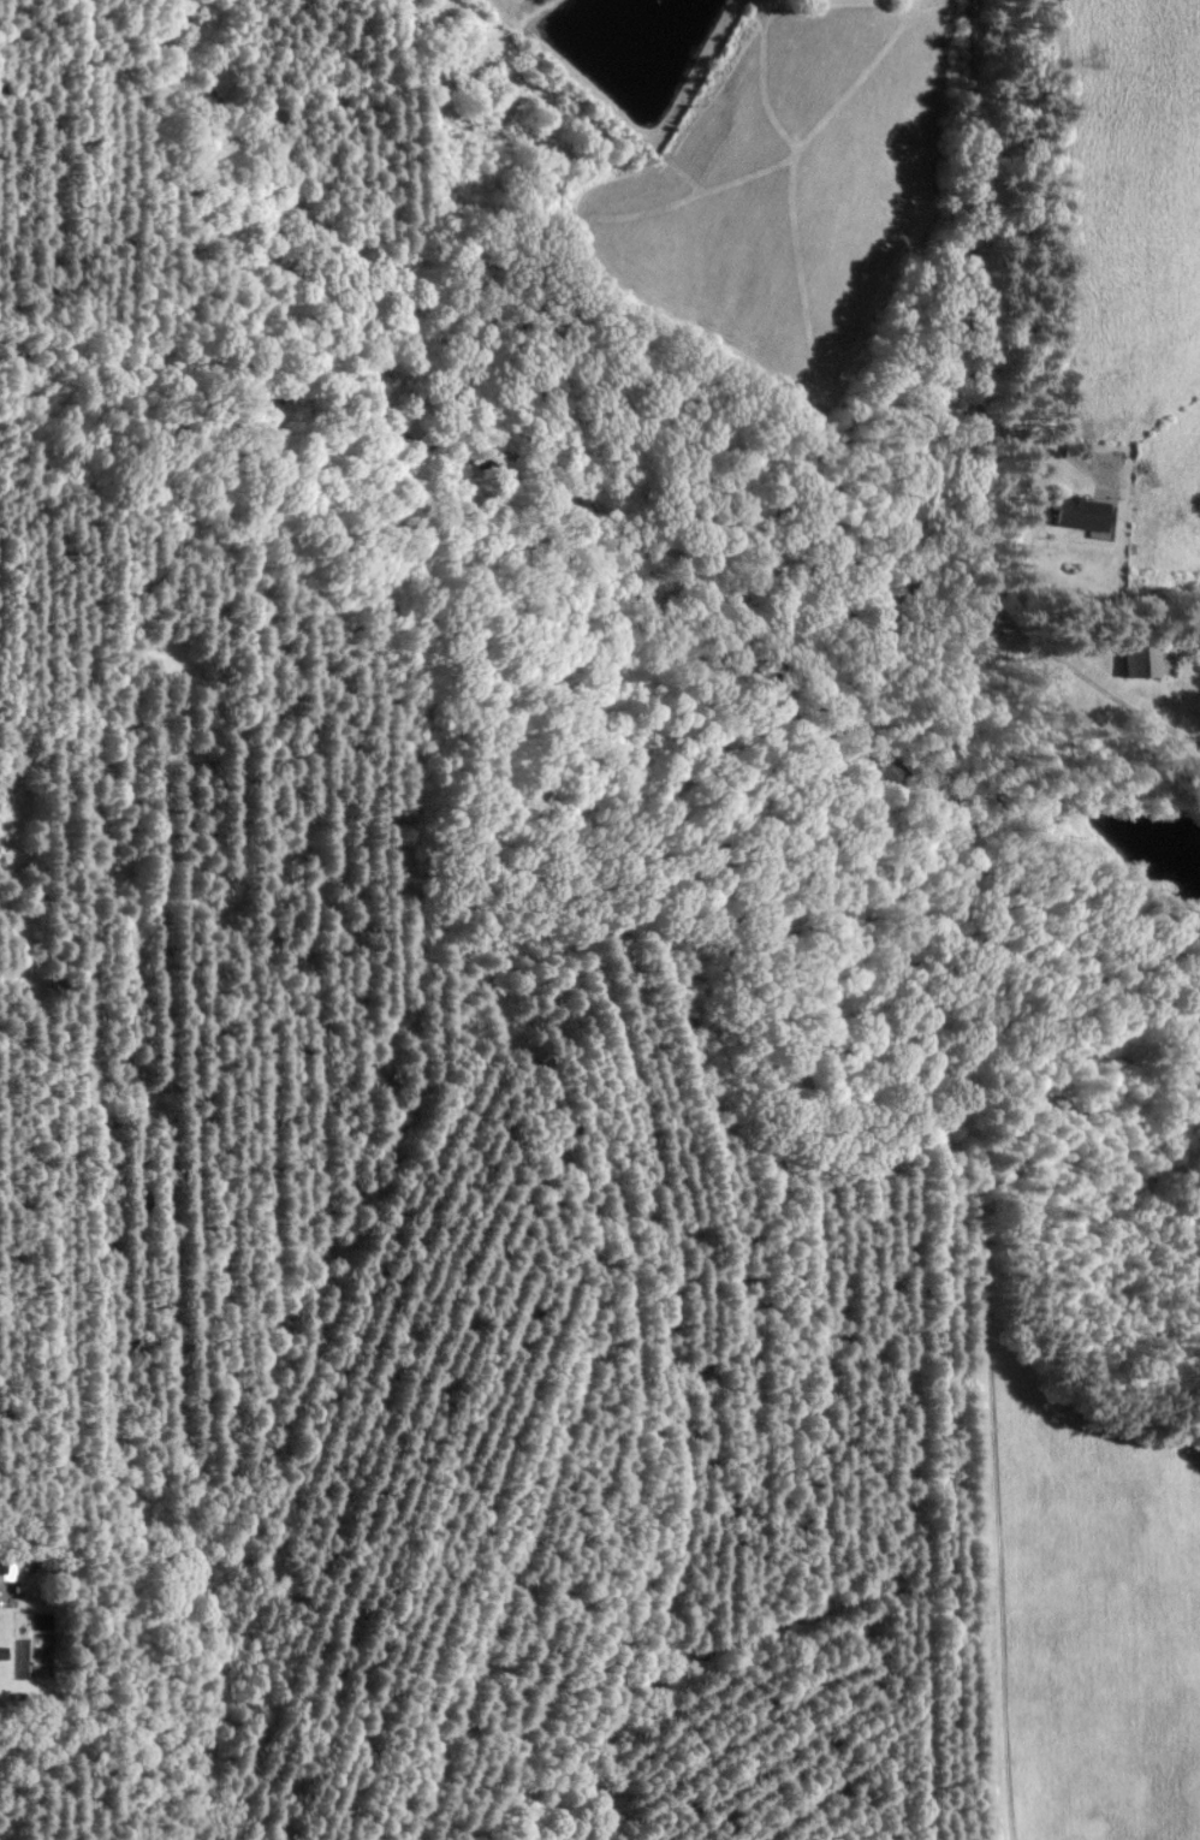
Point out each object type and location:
building: (1080, 511)
building: (1139, 659)

